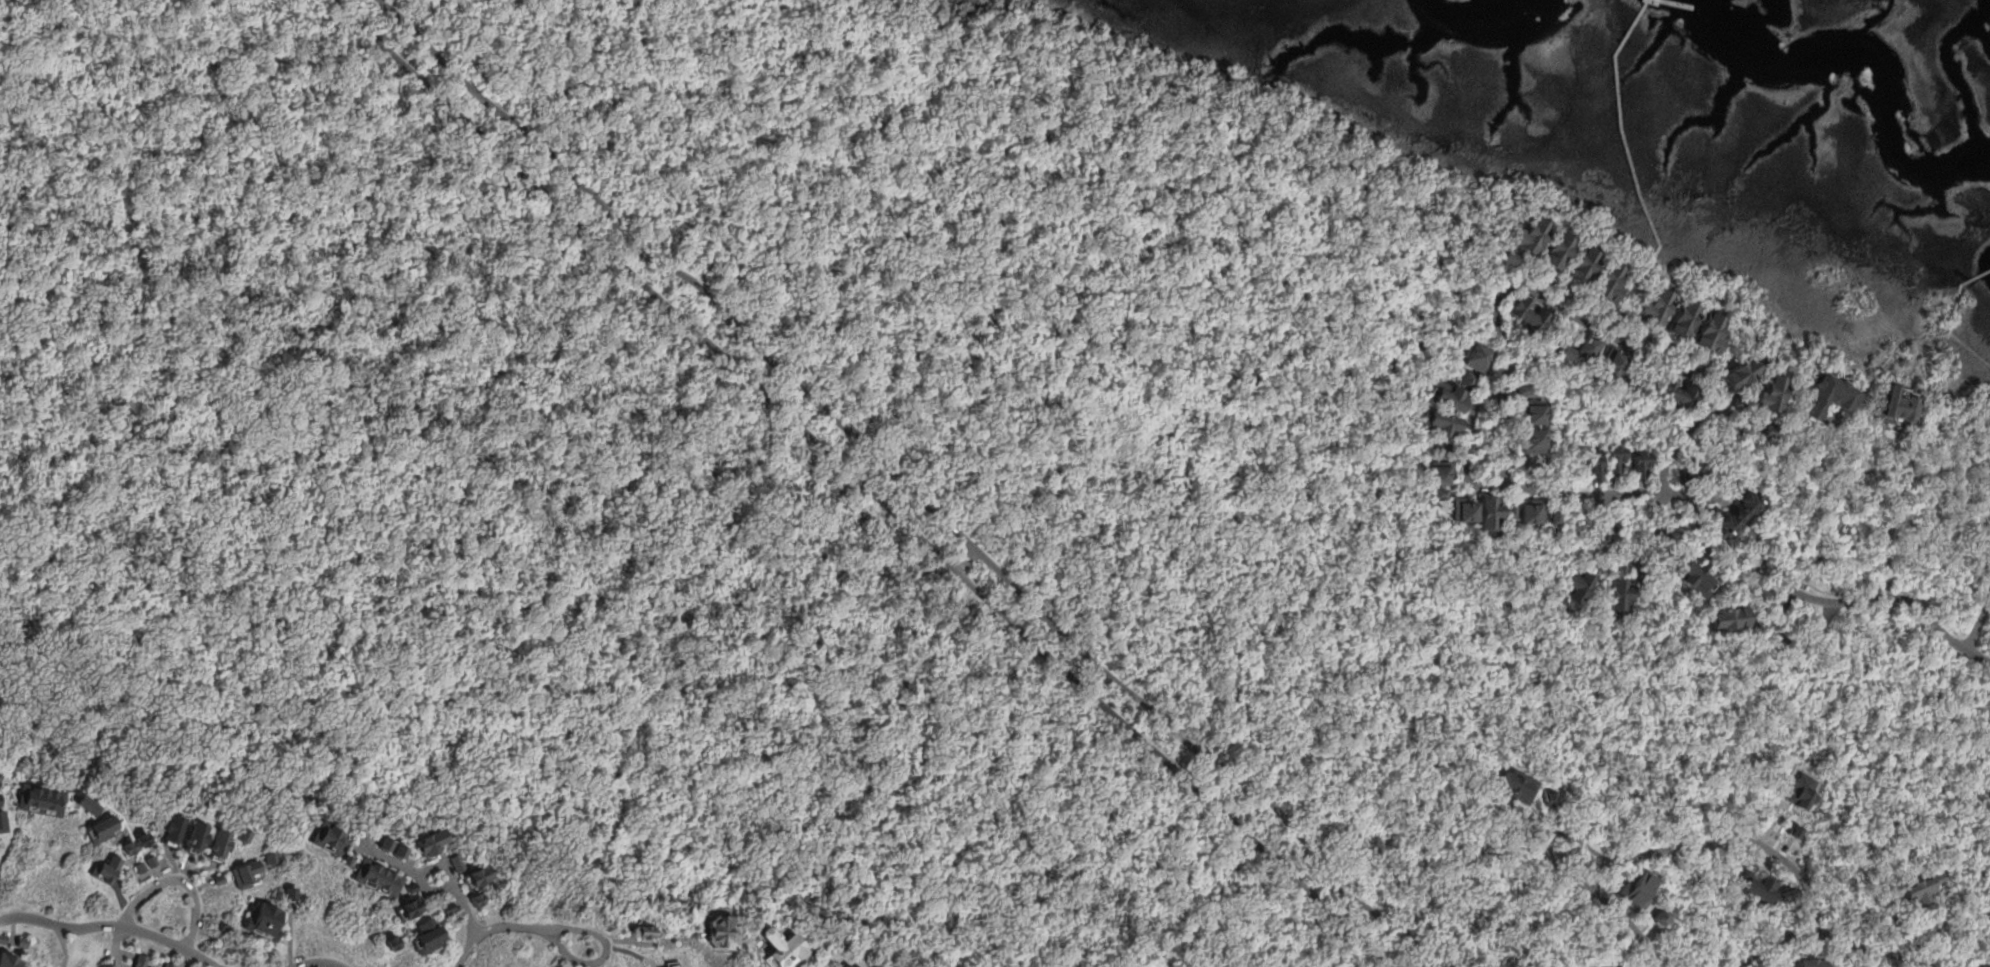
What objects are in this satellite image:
road: (1160, 207)
building: (1529, 235)
building: (1557, 253)
building: (1509, 256)
building: (1579, 268)
building: (1546, 282)
building: (1606, 285)
building: (1653, 309)
road: (1568, 316)
building: (1526, 317)
building: (1681, 321)
building: (1707, 335)
building: (1579, 353)
building: (1477, 360)
building: (1701, 363)
building: (1613, 371)
building: (1739, 375)
building: (1467, 383)
building: (1521, 391)
building: (1771, 395)
building: (1675, 396)
building: (1831, 397)
building: (1447, 400)
building: (1895, 408)
building: (1531, 414)
building: (1437, 427)
building: (1767, 433)
building: (1530, 443)
building: (1612, 459)
building: (1524, 465)
building: (1588, 467)
building: (1637, 467)
building: (1439, 473)
building: (1690, 474)
road: (905, 480)
road: (864, 482)
building: (1734, 488)
building: (1437, 495)
road: (1707, 500)
building: (1463, 511)
building: (1738, 511)
building: (1510, 514)
building: (1489, 515)
building: (1530, 515)
building: (1553, 517)
building: (1666, 533)
building: (1600, 538)
building: (1693, 582)
road: (549, 584)
road: (977, 589)
building: (1575, 590)
building: (1618, 598)
building: (1761, 599)
road: (1979, 620)
building: (1727, 622)
building: (36, 803)
building: (81, 808)
building: (3, 822)
building: (98, 831)
building: (170, 831)
building: (240, 836)
road: (1723, 837)
building: (192, 841)
building: (324, 841)
building: (139, 842)
building: (425, 845)
building: (380, 846)
building: (216, 847)
building: (122, 850)
building: (397, 851)
building: (270, 860)
building: (151, 862)
building: (343, 862)
building: (453, 864)
building: (138, 867)
building: (103, 872)
building: (243, 874)
road: (420, 875)
building: (475, 878)
road: (168, 880)
building: (220, 880)
building: (375, 880)
road: (1575, 880)
building: (408, 889)
building: (1922, 891)
building: (1639, 892)
building: (288, 895)
building: (478, 899)
building: (446, 909)
road: (465, 909)
building: (402, 911)
building: (1662, 916)
building: (262, 925)
road: (111, 927)
road: (495, 930)
road: (1826, 933)
building: (637, 935)
building: (717, 935)
building: (426, 937)
building: (2, 940)
building: (21, 944)
building: (386, 946)
building: (776, 950)
road: (599, 955)
building: (138, 960)
building: (1807, 960)
building: (7, 961)
road: (319, 963)
building: (167, 964)
building: (1984, 964)
building: (102, 965)
building: (151, 966)
building: (840, 966)

